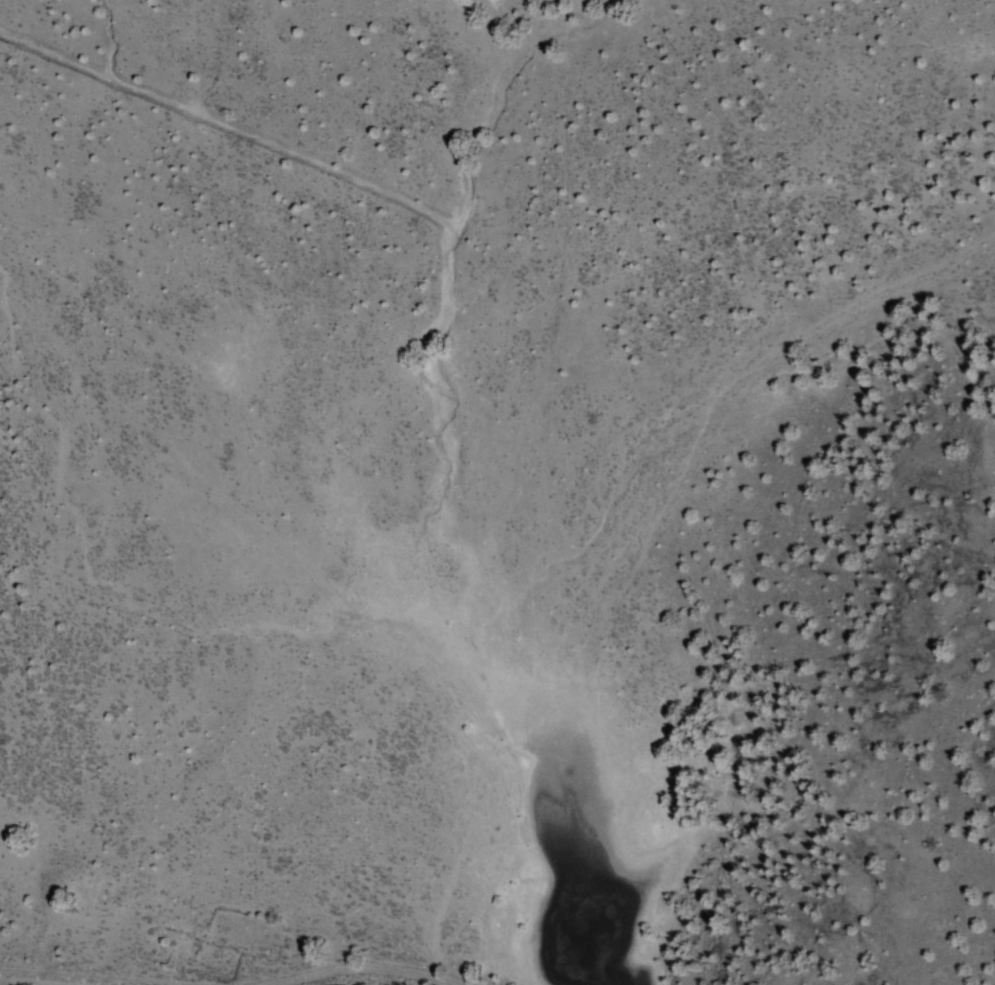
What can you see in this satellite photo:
road: (357, 972)
road: (19, 983)

